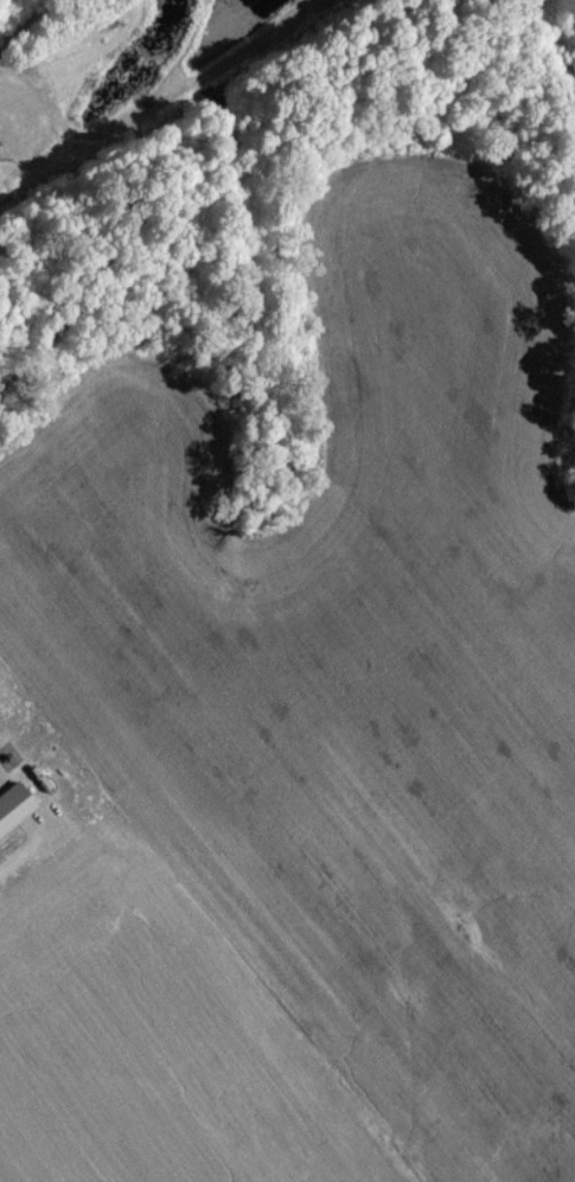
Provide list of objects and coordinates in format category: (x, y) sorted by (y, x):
road: (18, 861)

